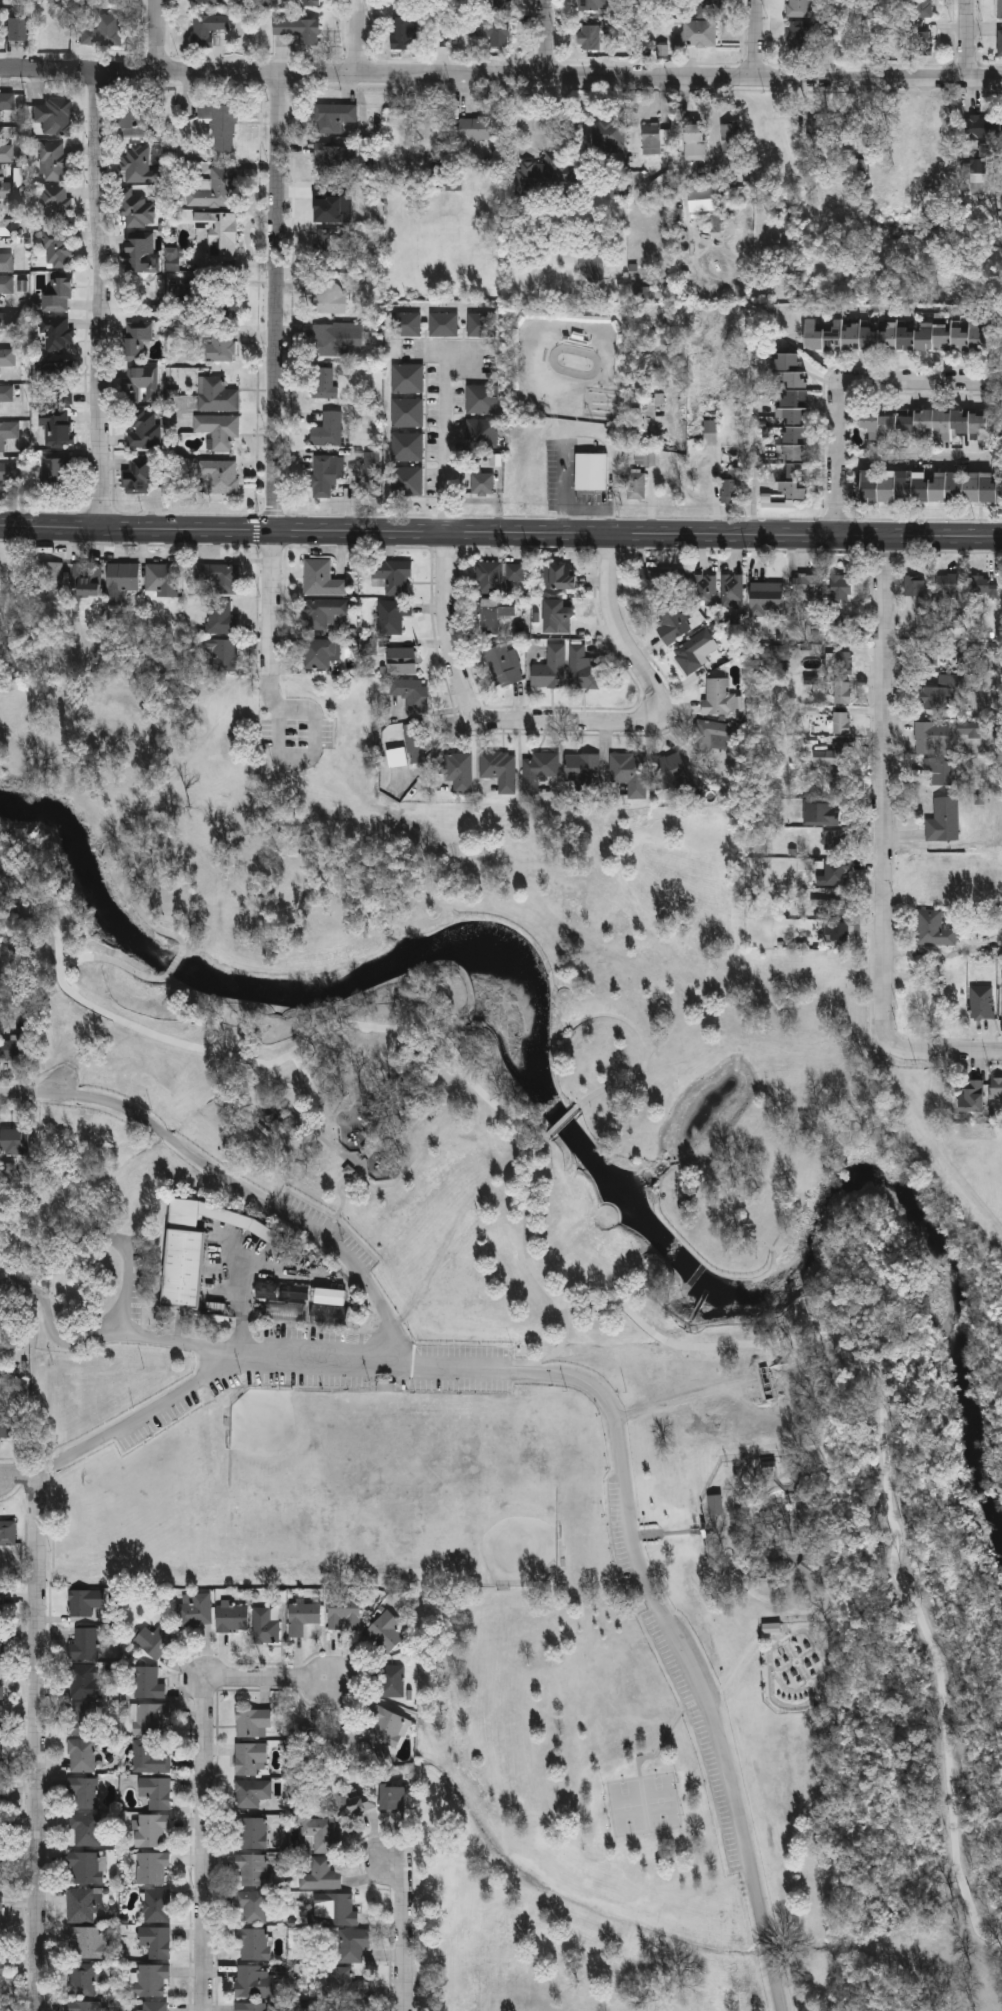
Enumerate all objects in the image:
building: (208, 1)
building: (404, 1)
building: (499, 1)
building: (304, 2)
building: (593, 4)
building: (798, 7)
building: (923, 7)
building: (708, 8)
building: (1000, 8)
building: (299, 27)
building: (16, 29)
building: (403, 29)
building: (103, 31)
building: (203, 31)
building: (699, 31)
building: (493, 34)
building: (799, 34)
building: (588, 35)
road: (147, 36)
road: (357, 36)
road: (543, 37)
road: (755, 37)
road: (967, 37)
building: (923, 41)
building: (999, 41)
road: (500, 73)
building: (7, 100)
building: (54, 114)
building: (333, 116)
building: (136, 123)
building: (220, 124)
building: (979, 128)
building: (476, 130)
building: (607, 135)
building: (732, 139)
building: (655, 140)
building: (693, 142)
building: (6, 153)
building: (331, 158)
building: (55, 160)
building: (138, 163)
building: (547, 176)
building: (975, 176)
building: (216, 188)
building: (7, 190)
building: (326, 202)
building: (56, 203)
building: (138, 209)
building: (6, 226)
building: (219, 234)
building: (58, 248)
building: (328, 249)
building: (139, 252)
building: (6, 262)
building: (589, 263)
building: (6, 283)
building: (58, 295)
building: (329, 295)
building: (225, 298)
road: (99, 299)
road: (797, 306)
building: (7, 319)
building: (442, 323)
building: (405, 324)
building: (481, 324)
building: (58, 332)
building: (136, 337)
building: (333, 337)
building: (894, 337)
building: (220, 344)
road: (536, 345)
building: (8, 356)
road: (274, 369)
building: (60, 377)
building: (406, 378)
building: (324, 382)
road: (840, 382)
building: (141, 383)
building: (7, 392)
building: (216, 393)
building: (481, 398)
building: (406, 411)
building: (790, 422)
building: (926, 422)
building: (56, 425)
building: (218, 427)
building: (328, 428)
building: (144, 429)
building: (8, 430)
building: (481, 432)
road: (441, 445)
building: (406, 446)
road: (913, 448)
building: (56, 469)
building: (6, 470)
building: (139, 472)
building: (591, 472)
building: (325, 473)
building: (219, 474)
building: (406, 480)
building: (482, 483)
building: (928, 485)
building: (636, 486)
building: (732, 486)
road: (500, 533)
building: (87, 574)
building: (49, 575)
building: (394, 576)
building: (498, 576)
building: (562, 576)
building: (121, 578)
building: (210, 578)
building: (321, 578)
building: (162, 579)
building: (661, 579)
building: (806, 584)
building: (946, 585)
building: (982, 585)
building: (732, 587)
building: (840, 587)
building: (705, 589)
building: (917, 592)
building: (766, 597)
building: (321, 611)
building: (493, 613)
building: (392, 614)
building: (221, 616)
building: (672, 624)
building: (692, 649)
building: (319, 652)
building: (225, 654)
building: (401, 660)
building: (842, 661)
building: (504, 664)
road: (454, 667)
road: (639, 667)
building: (550, 668)
building: (582, 668)
road: (271, 690)
building: (941, 690)
building: (842, 691)
building: (411, 693)
building: (718, 696)
building: (841, 722)
building: (714, 735)
building: (930, 736)
building: (409, 745)
road: (273, 746)
building: (835, 754)
building: (540, 766)
building: (583, 766)
building: (499, 769)
building: (458, 770)
building: (671, 770)
building: (937, 770)
building: (629, 772)
building: (840, 784)
road: (884, 793)
building: (821, 813)
building: (943, 819)
building: (837, 839)
building: (926, 870)
building: (837, 872)
road: (142, 915)
building: (931, 928)
building: (840, 930)
building: (992, 949)
road: (115, 962)
road: (174, 966)
building: (981, 1002)
building: (935, 1003)
road: (644, 1042)
road: (468, 1045)
building: (15, 1048)
road: (652, 1048)
road: (941, 1050)
building: (996, 1086)
road: (19, 1093)
building: (971, 1095)
road: (420, 1120)
road: (564, 1122)
road: (372, 1125)
building: (15, 1141)
road: (537, 1145)
road: (368, 1183)
road: (339, 1188)
road: (248, 1192)
road: (337, 1220)
road: (114, 1241)
building: (181, 1254)
road: (18, 1284)
building: (288, 1292)
building: (330, 1298)
road: (603, 1306)
building: (289, 1308)
park: (528, 1337)
road: (561, 1342)
road: (376, 1362)
building: (766, 1385)
road: (684, 1399)
road: (138, 1416)
building: (10, 1427)
road: (28, 1477)
building: (801, 1481)
building: (716, 1505)
building: (8, 1532)
building: (85, 1601)
building: (0, 1605)
building: (194, 1608)
building: (344, 1613)
building: (303, 1616)
building: (232, 1617)
building: (266, 1624)
building: (772, 1629)
building: (388, 1631)
building: (155, 1639)
building: (84, 1643)
building: (1, 1645)
building: (82, 1679)
building: (392, 1680)
building: (148, 1681)
building: (0, 1682)
road: (690, 1706)
building: (1, 1711)
building: (83, 1717)
building: (151, 1718)
building: (253, 1723)
building: (388, 1726)
building: (343, 1742)
building: (308, 1745)
building: (0, 1749)
building: (82, 1755)
road: (34, 1757)
building: (149, 1758)
building: (251, 1758)
road: (724, 1767)
road: (204, 1785)
building: (84, 1792)
building: (156, 1792)
building: (252, 1792)
building: (392, 1798)
building: (354, 1802)
park: (643, 1804)
building: (316, 1827)
building: (86, 1828)
building: (151, 1829)
building: (253, 1832)
building: (0, 1836)
building: (86, 1866)
building: (152, 1867)
building: (252, 1868)
building: (0, 1871)
building: (321, 1874)
building: (1, 1901)
building: (80, 1904)
building: (157, 1904)
building: (252, 1904)
building: (338, 1908)
road: (404, 1932)
building: (156, 1940)
building: (86, 1941)
building: (253, 1943)
building: (353, 1943)
building: (82, 1978)
building: (152, 1979)
building: (254, 1981)
building: (348, 1983)
building: (87, 2006)
building: (156, 2006)
building: (250, 2006)
building: (355, 2006)

